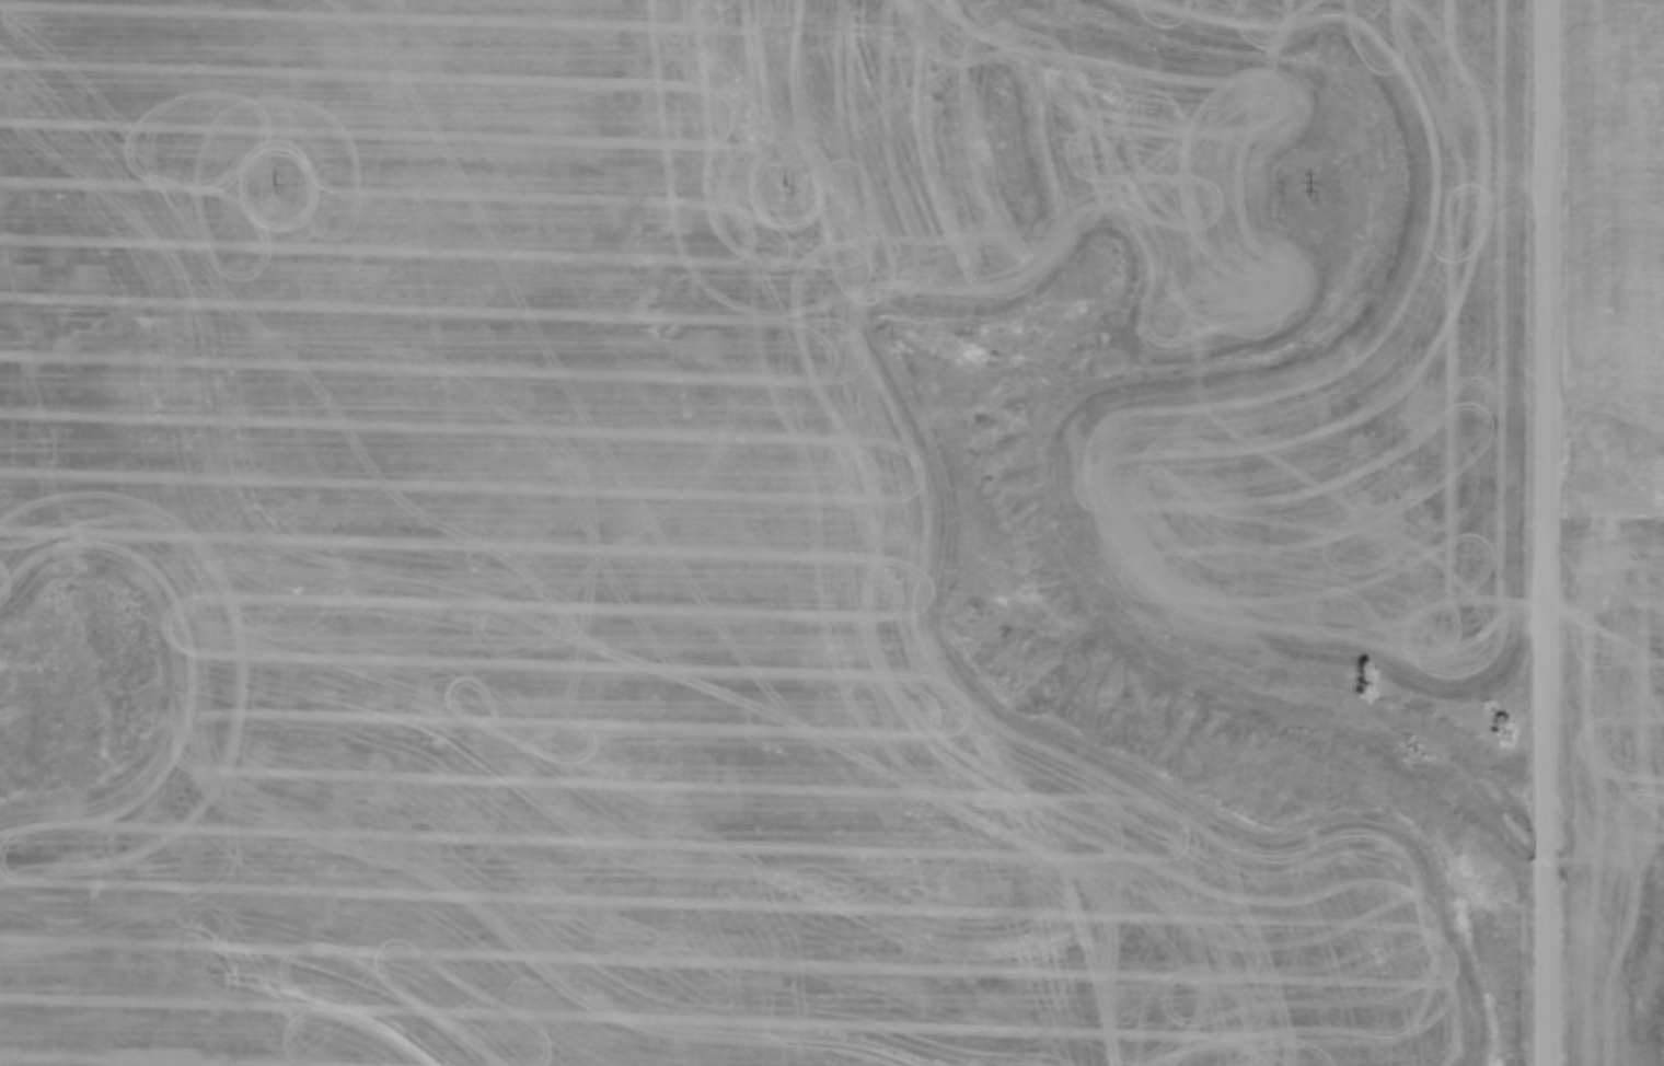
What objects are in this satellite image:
power tower: (276, 188)
power tower: (786, 190)
power tower: (1309, 190)
road: (1546, 419)
crop: (1611, 500)
crop: (620, 549)
dam: (14, 710)
road: (1544, 856)
road: (1544, 970)

